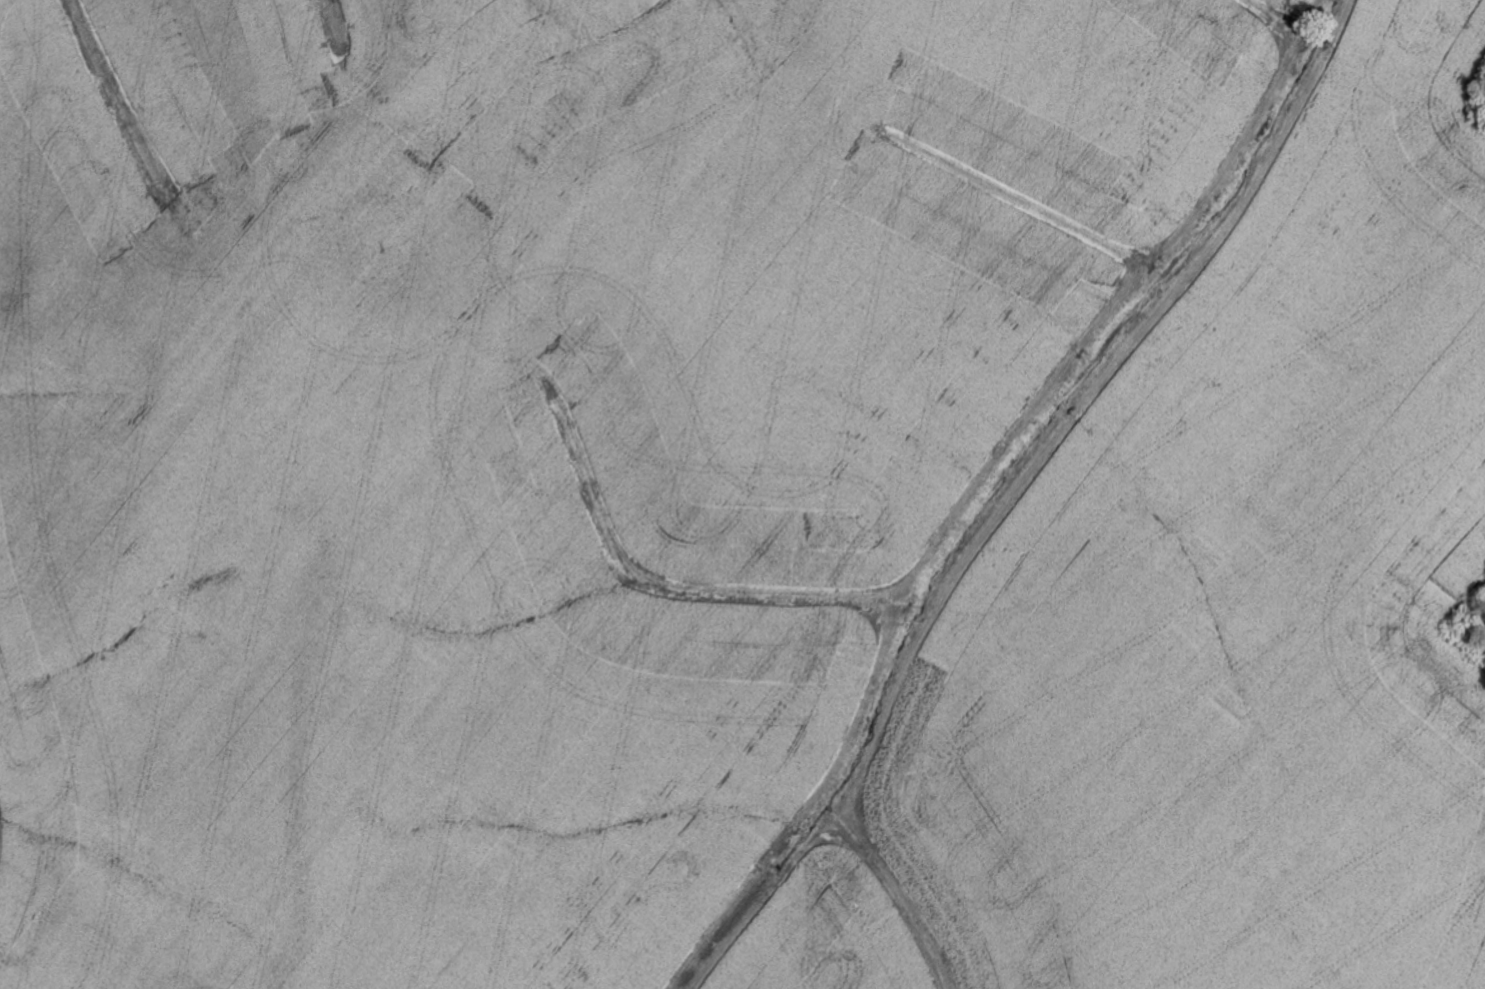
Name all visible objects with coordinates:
park: (1476, 621)

